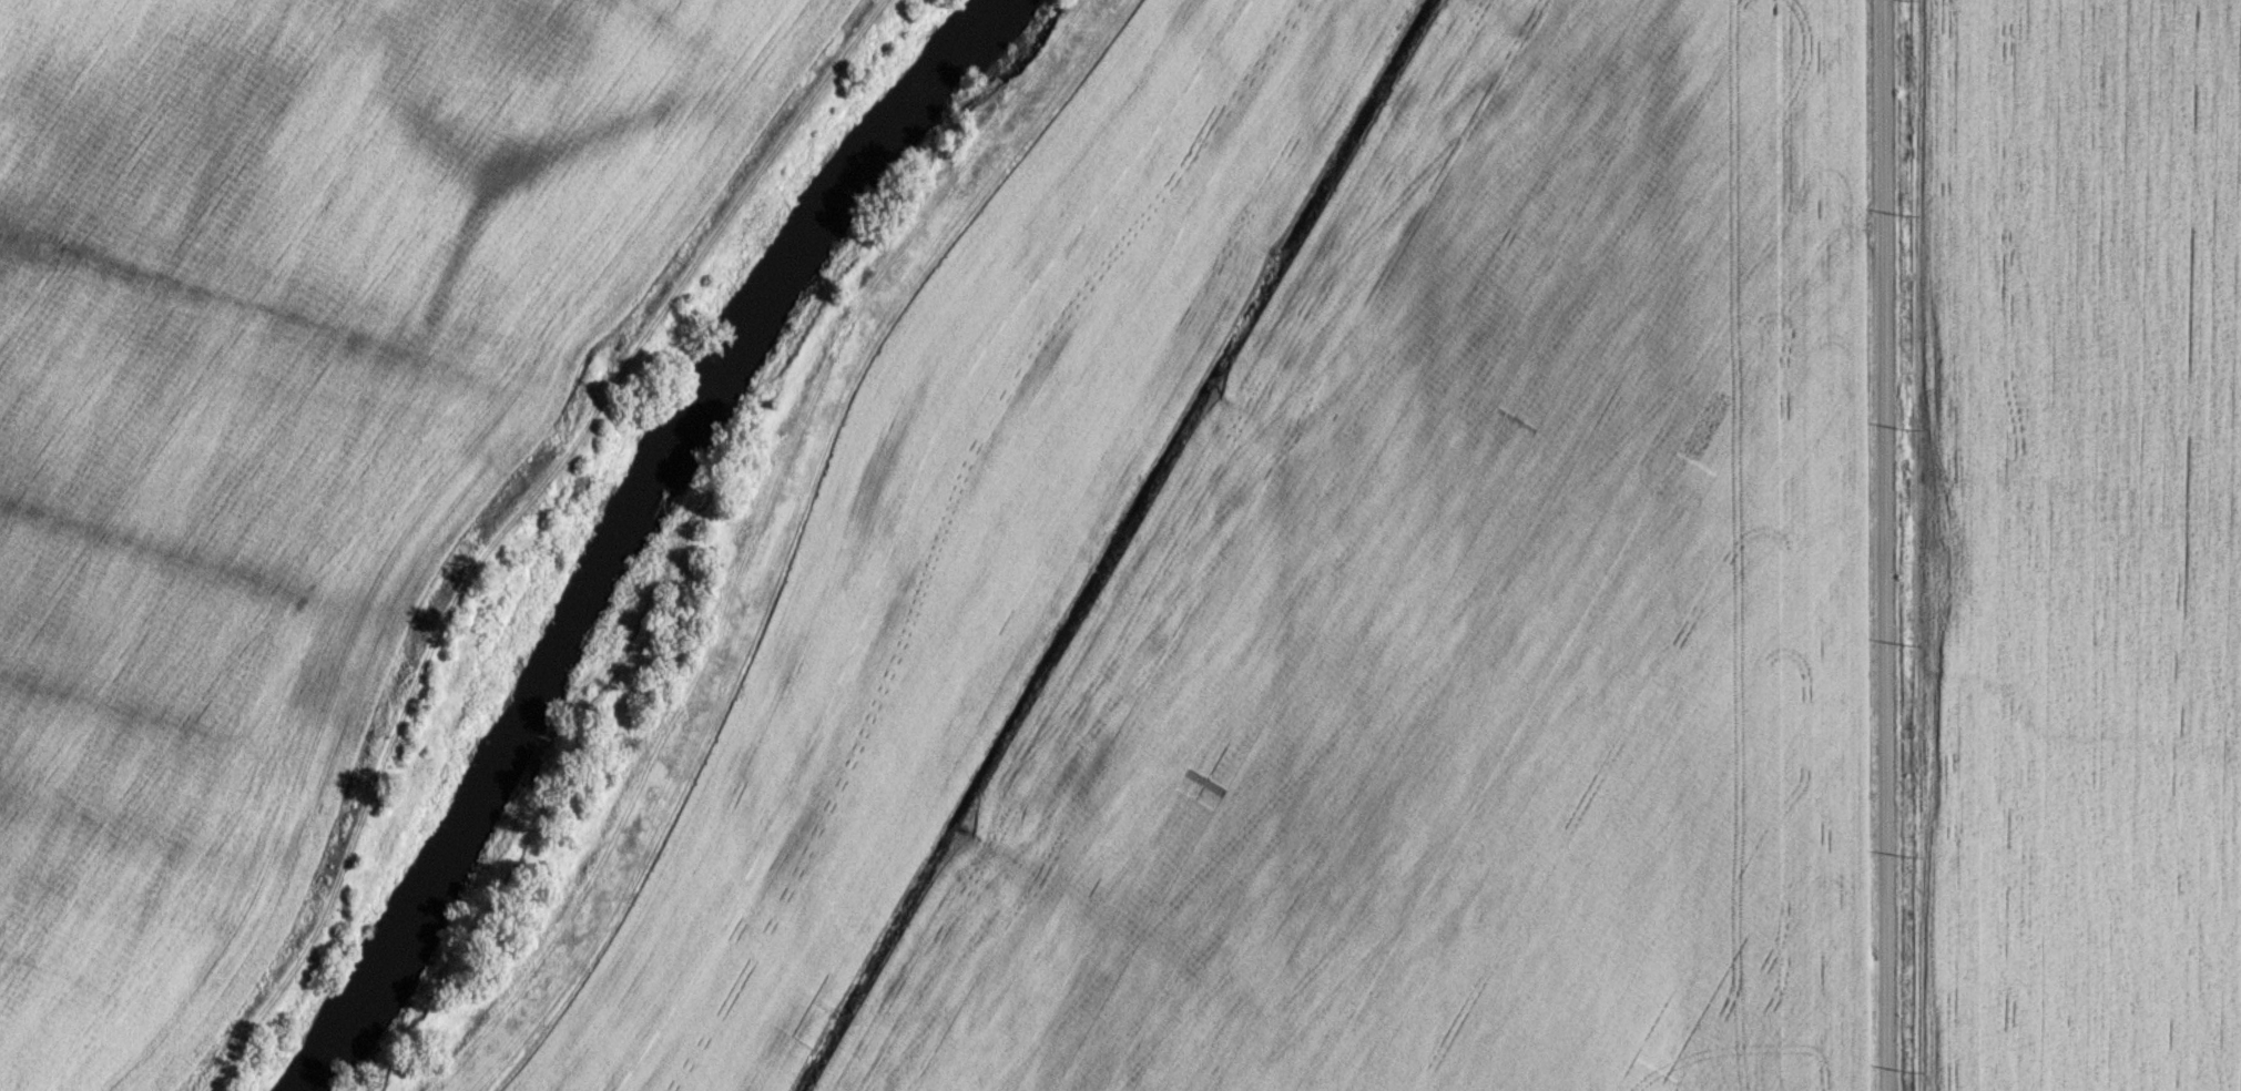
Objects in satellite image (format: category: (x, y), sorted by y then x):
river: (619, 527)
road: (1880, 545)

